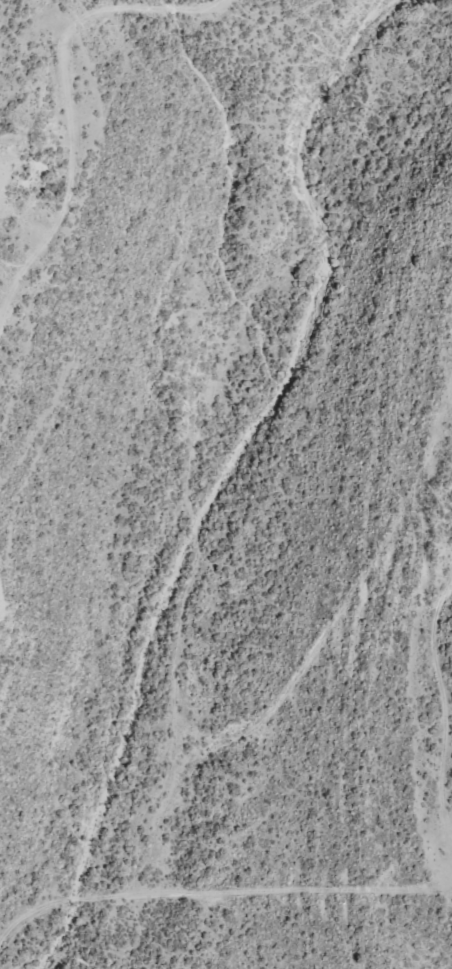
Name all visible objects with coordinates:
road: (80, 179)
road: (272, 726)

